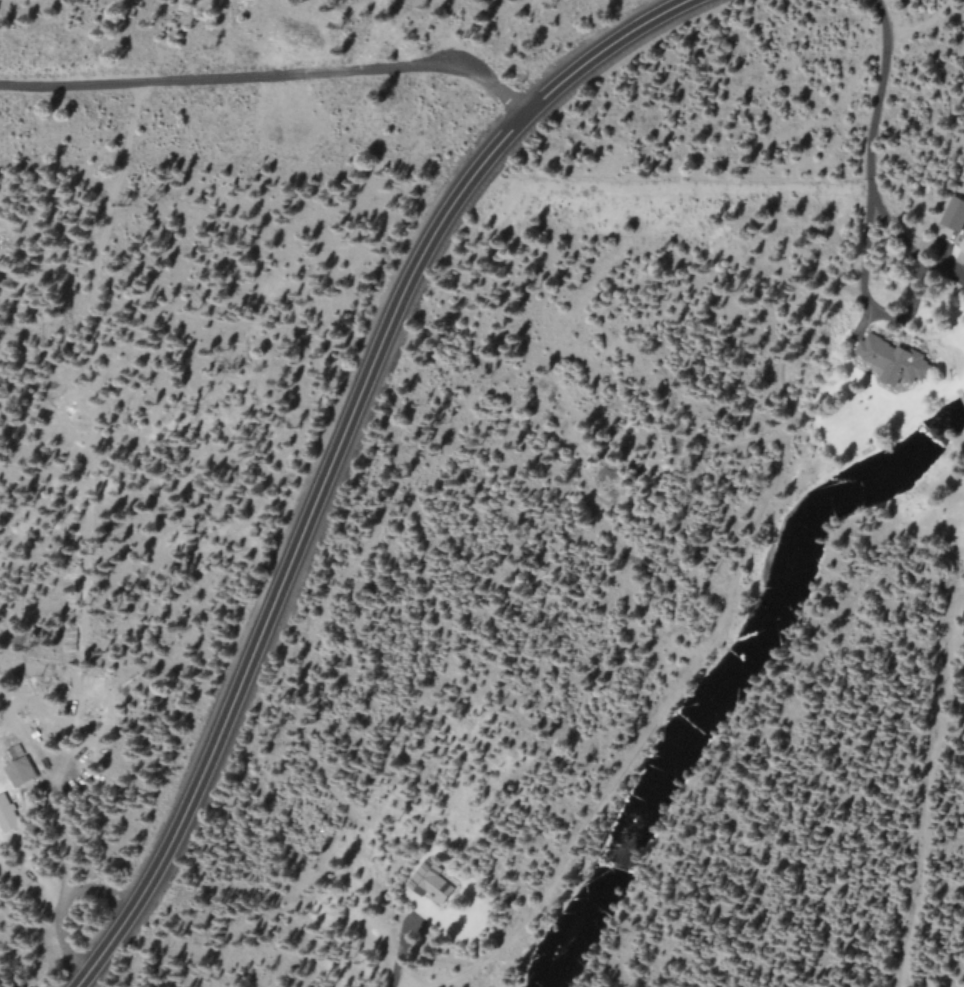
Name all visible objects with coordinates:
road: (392, 35)
road: (272, 73)
road: (880, 98)
building: (954, 214)
building: (962, 246)
road: (906, 320)
building: (894, 362)
road: (960, 396)
road: (338, 453)
road: (704, 650)
river: (728, 682)
building: (13, 751)
building: (19, 770)
road: (58, 806)
building: (6, 813)
building: (431, 883)
road: (66, 907)
road: (402, 954)

